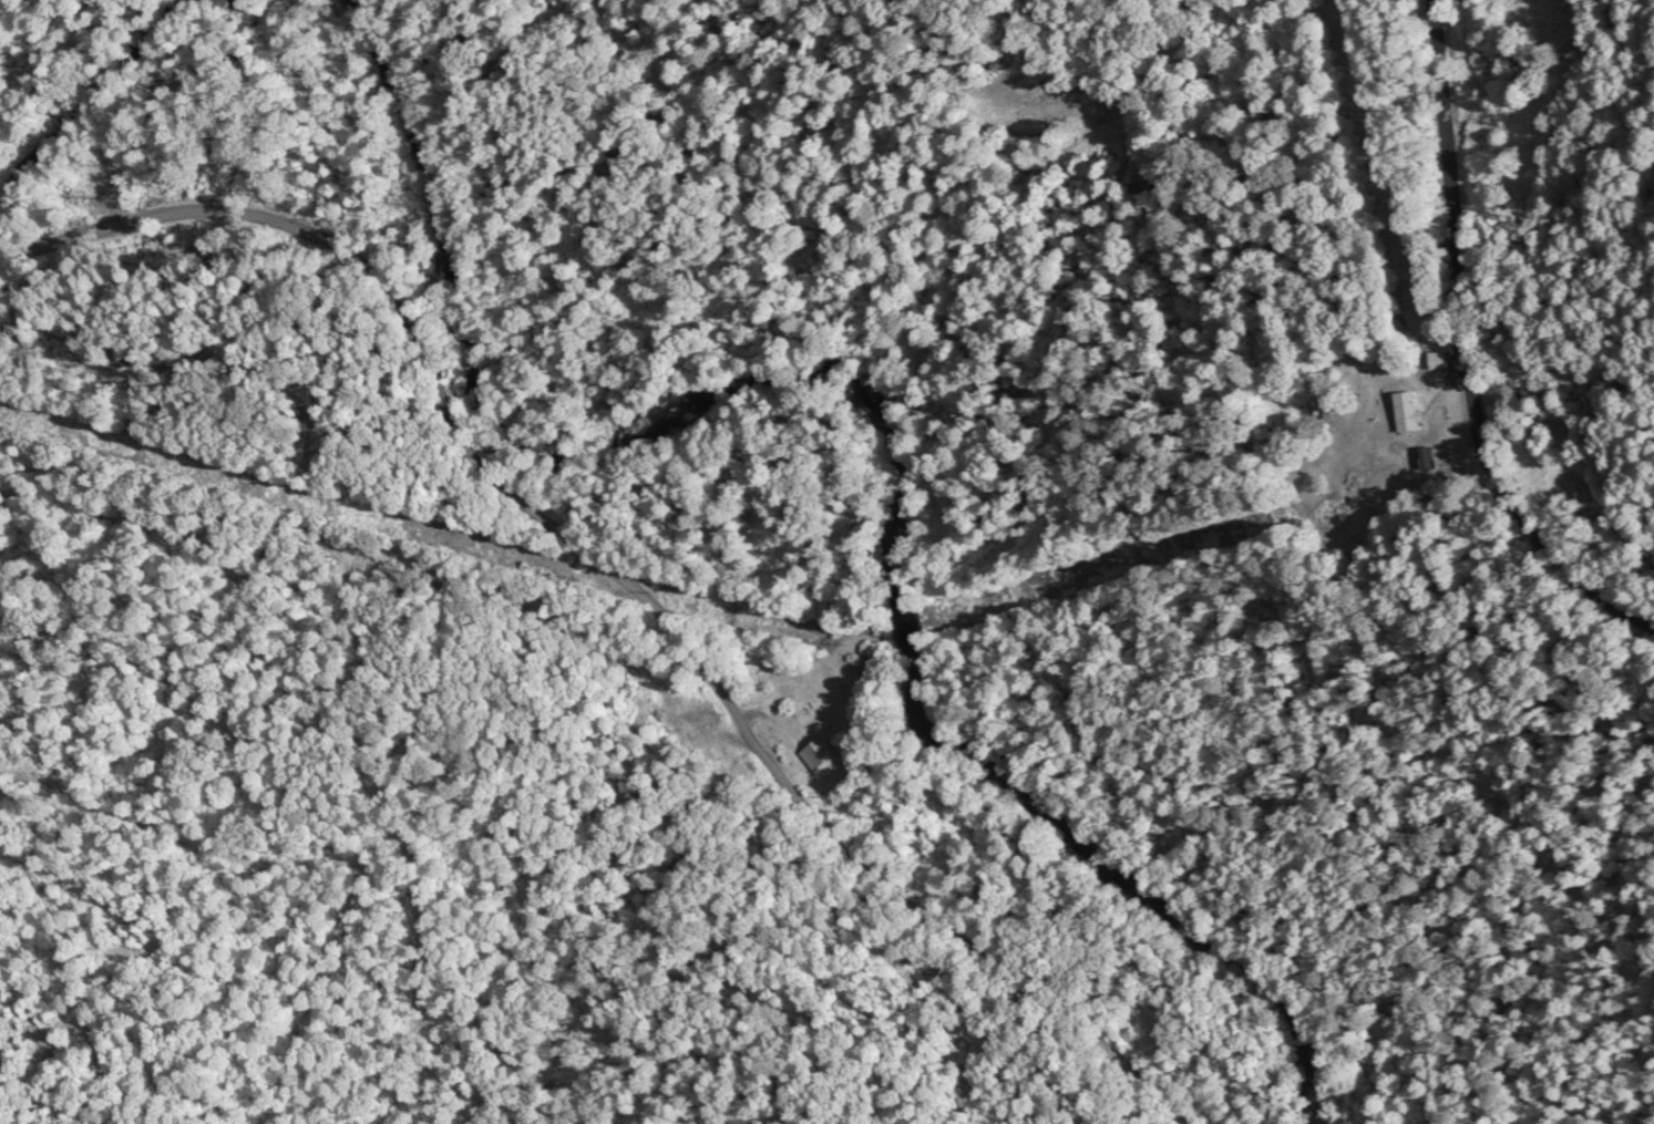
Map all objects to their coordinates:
river: (83, 94)
road: (1466, 351)
building: (1409, 409)
river: (879, 416)
road: (623, 573)

